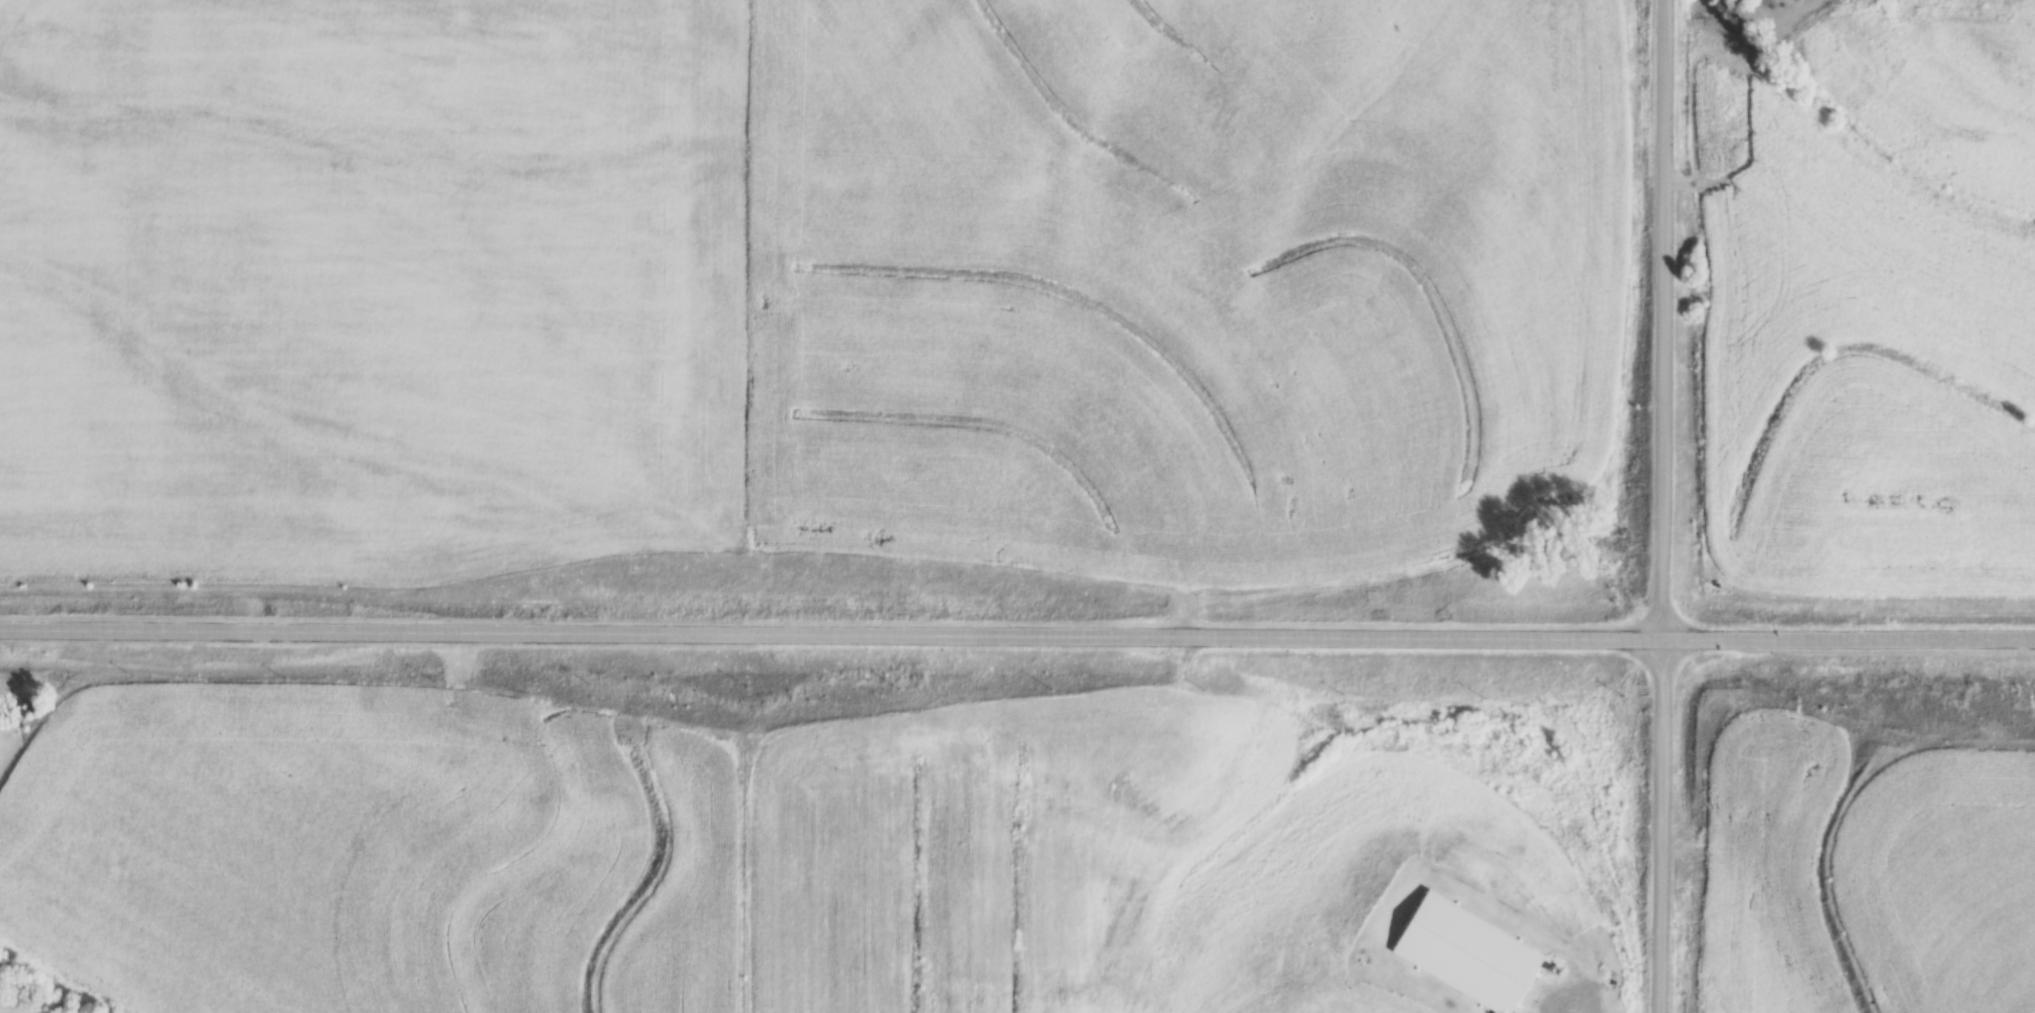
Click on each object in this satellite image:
road: (1665, 506)
road: (1017, 637)

